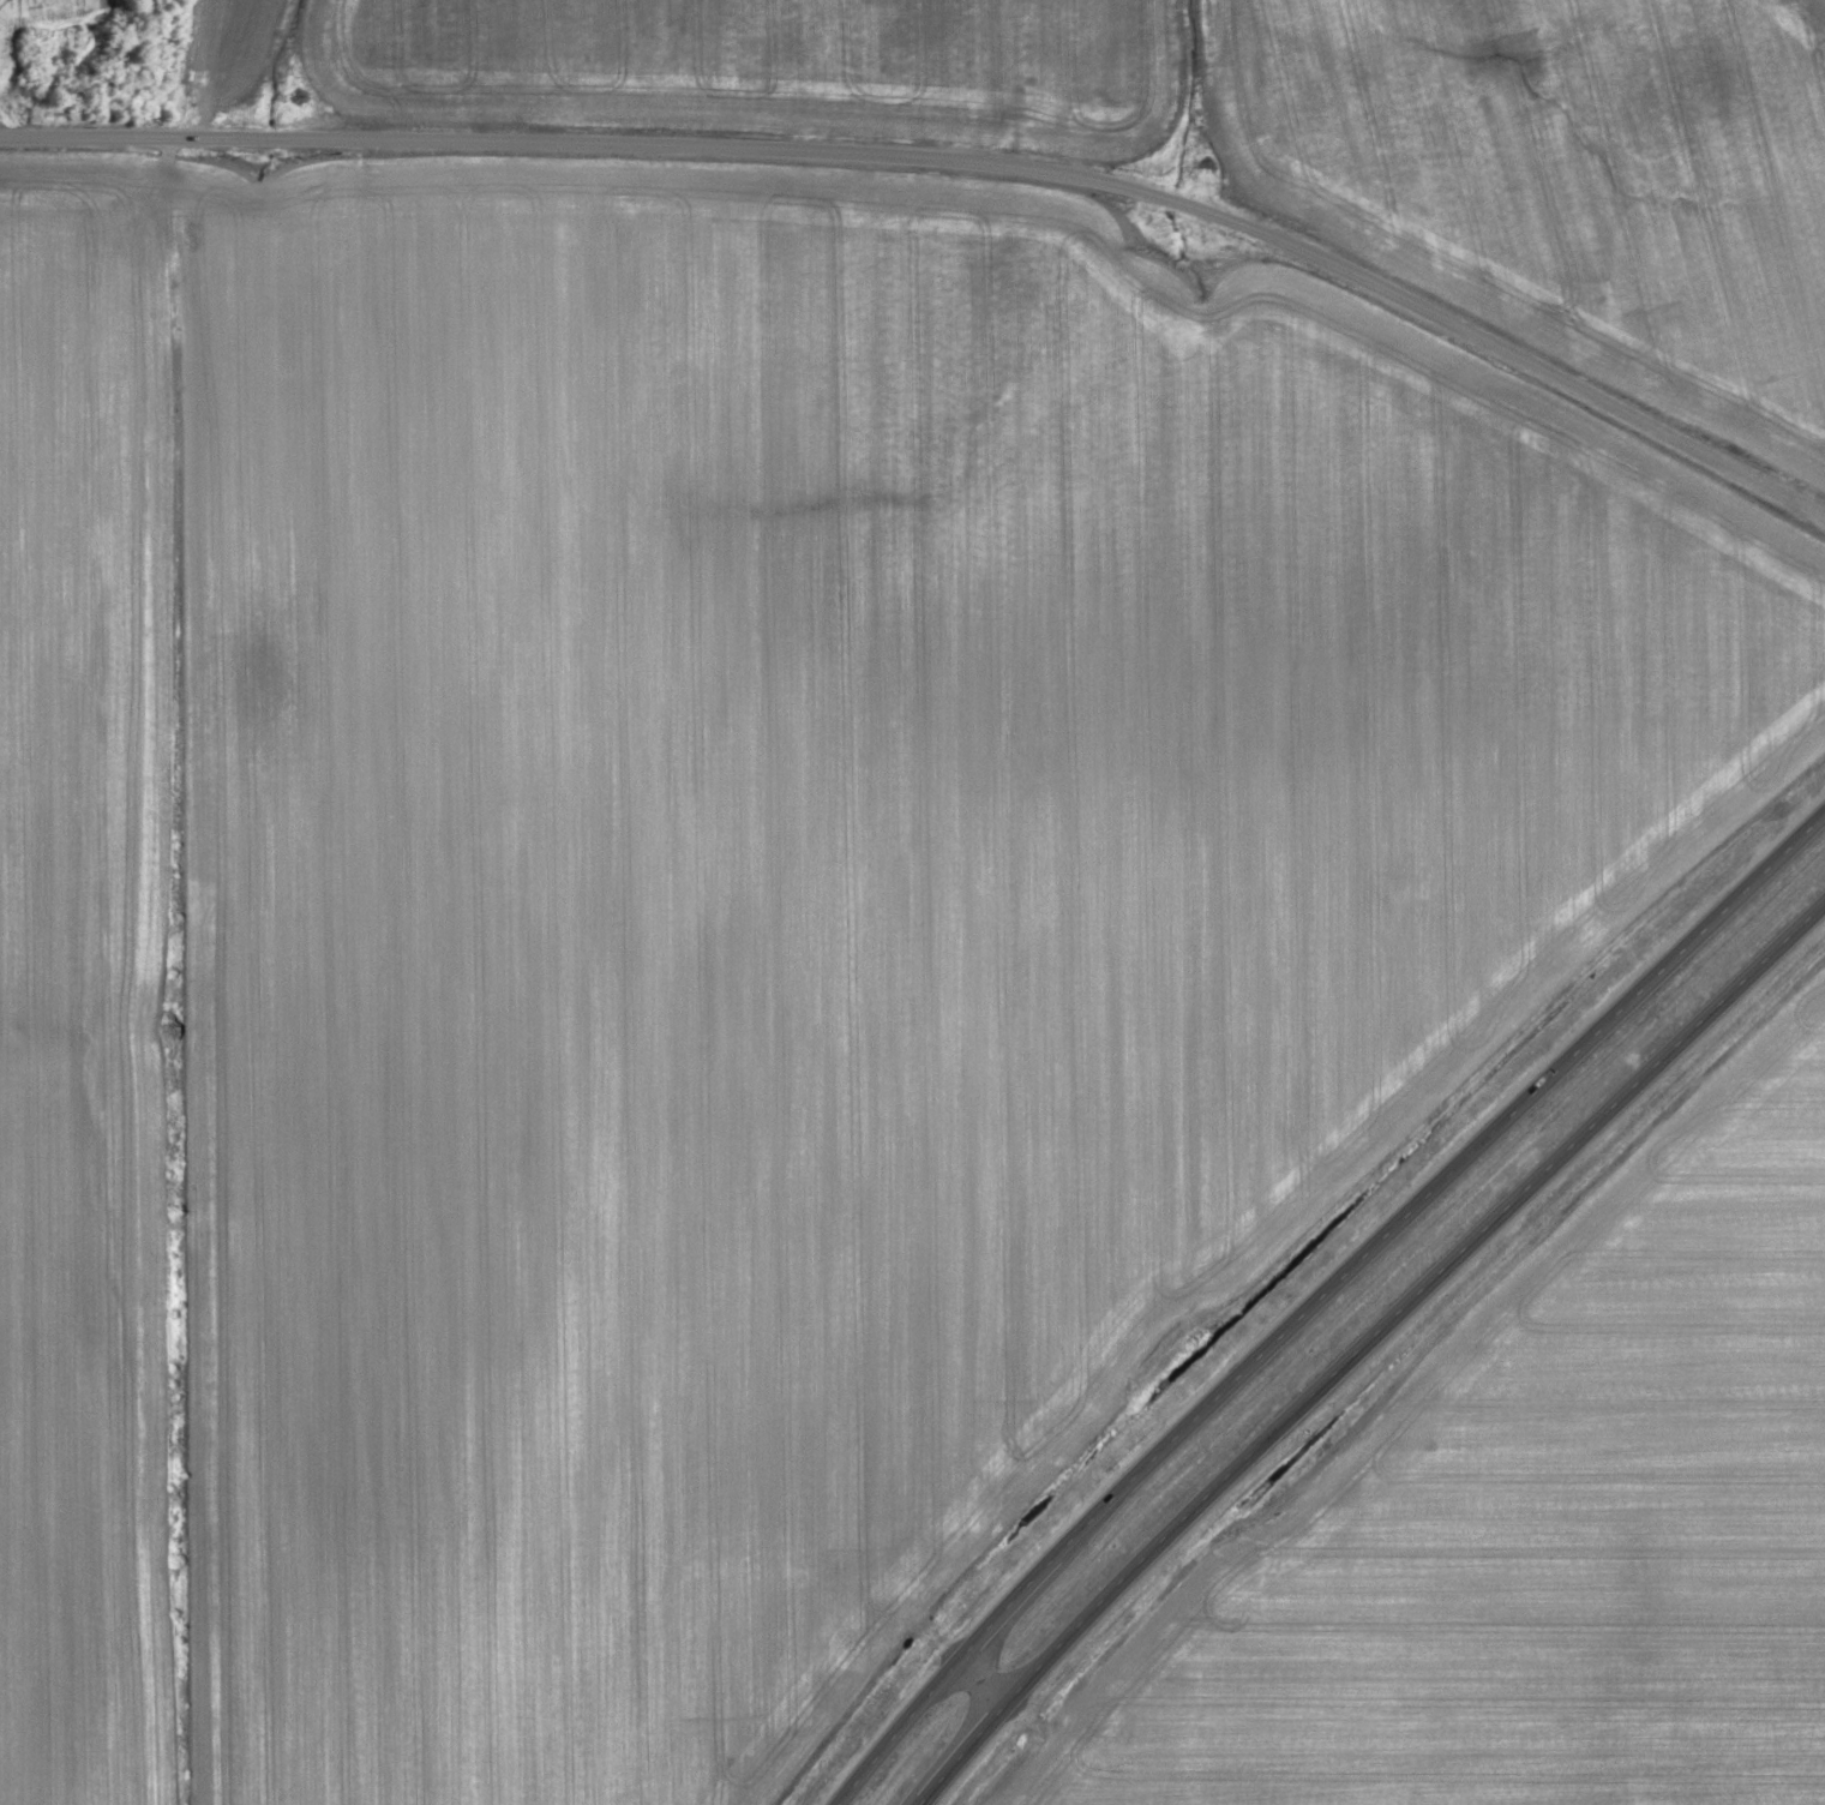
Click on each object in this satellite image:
road: (945, 178)
road: (1439, 1179)
road: (1413, 1297)
road: (1005, 1605)
road: (983, 1679)
road: (895, 1731)
road: (966, 1751)
road: (921, 1804)

